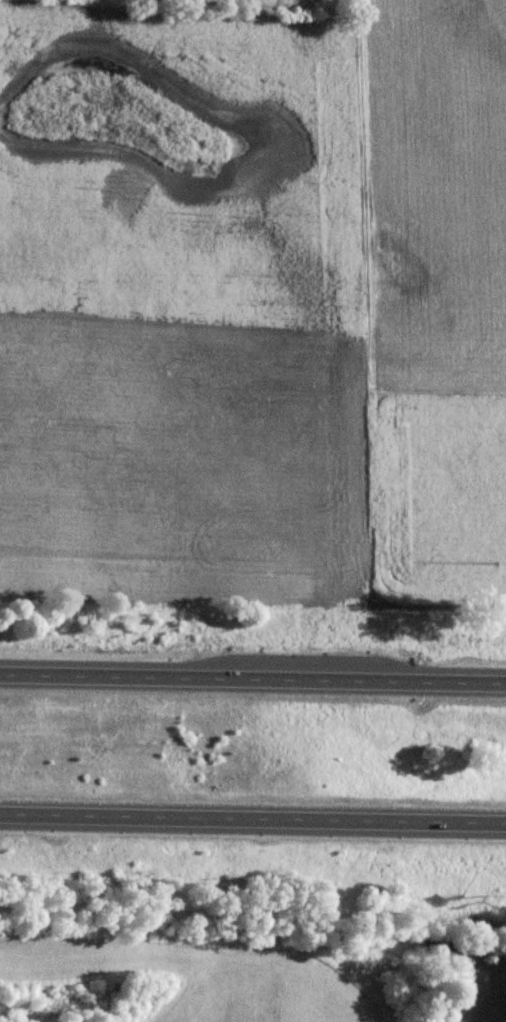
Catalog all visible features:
road: (253, 676)
road: (253, 816)

